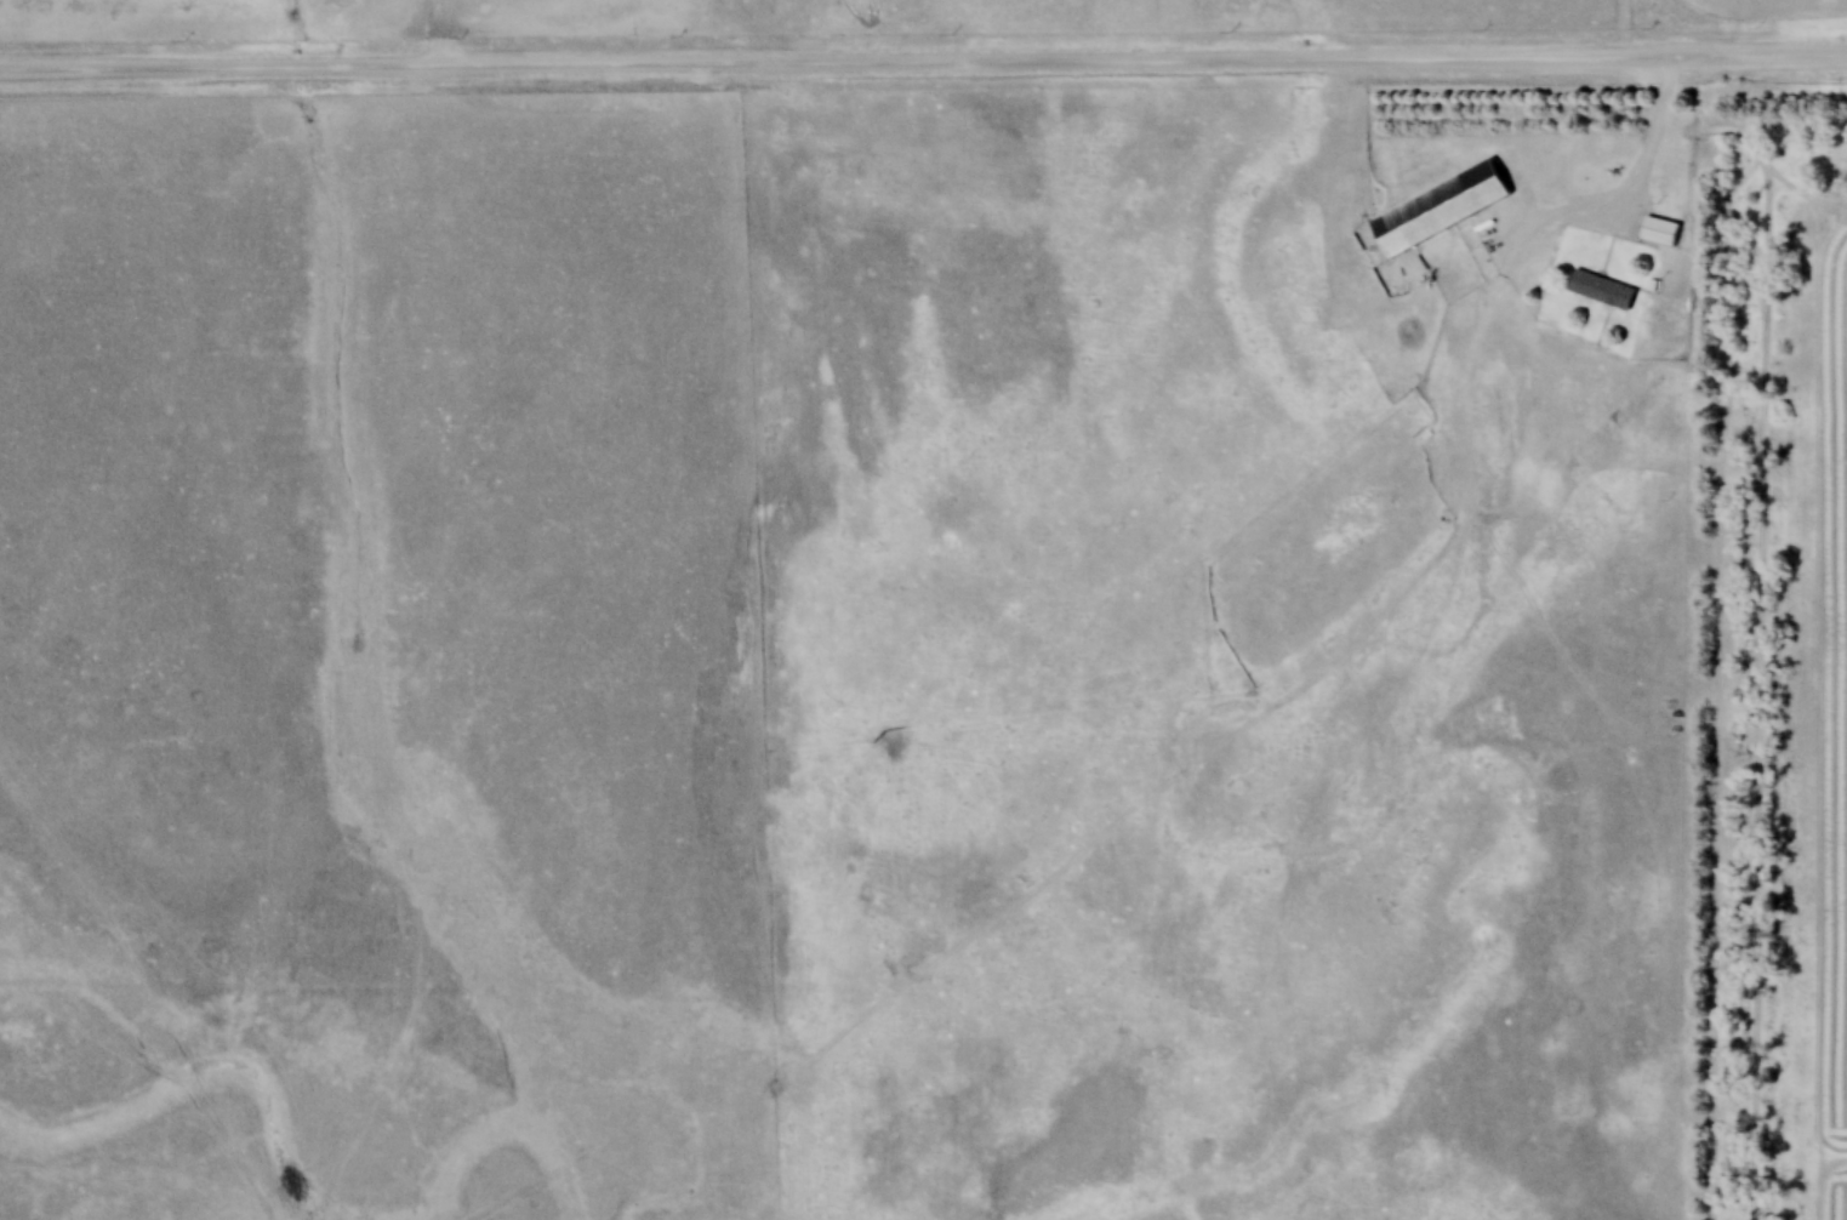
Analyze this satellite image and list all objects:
road: (923, 69)
building: (1444, 209)
building: (1663, 230)
building: (1602, 290)

